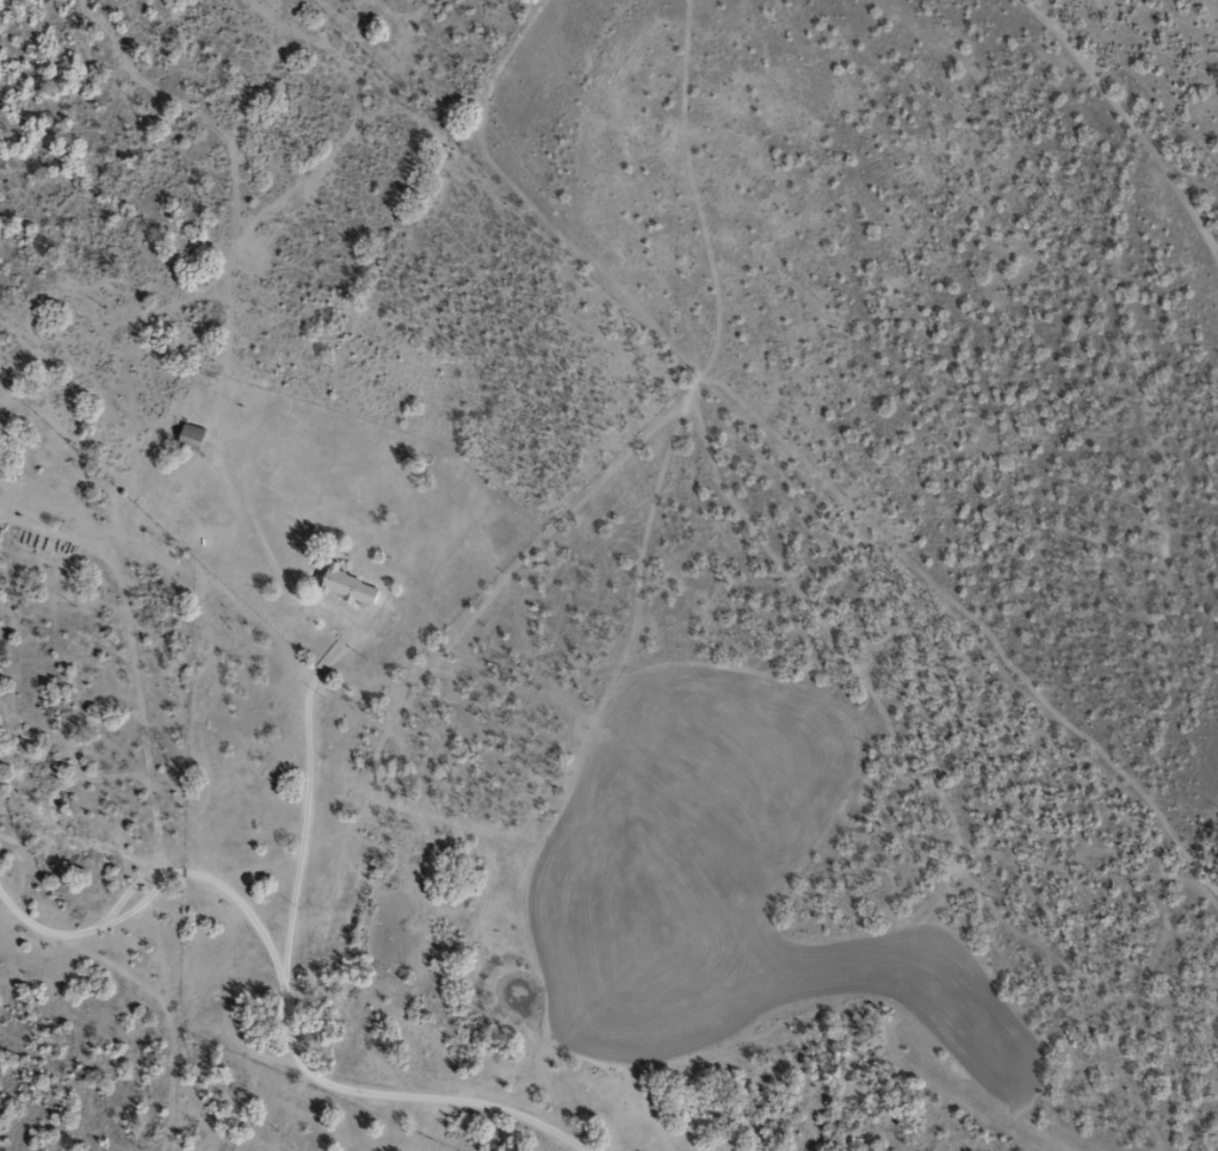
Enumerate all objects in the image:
building: (187, 432)
building: (346, 586)
road: (283, 822)

